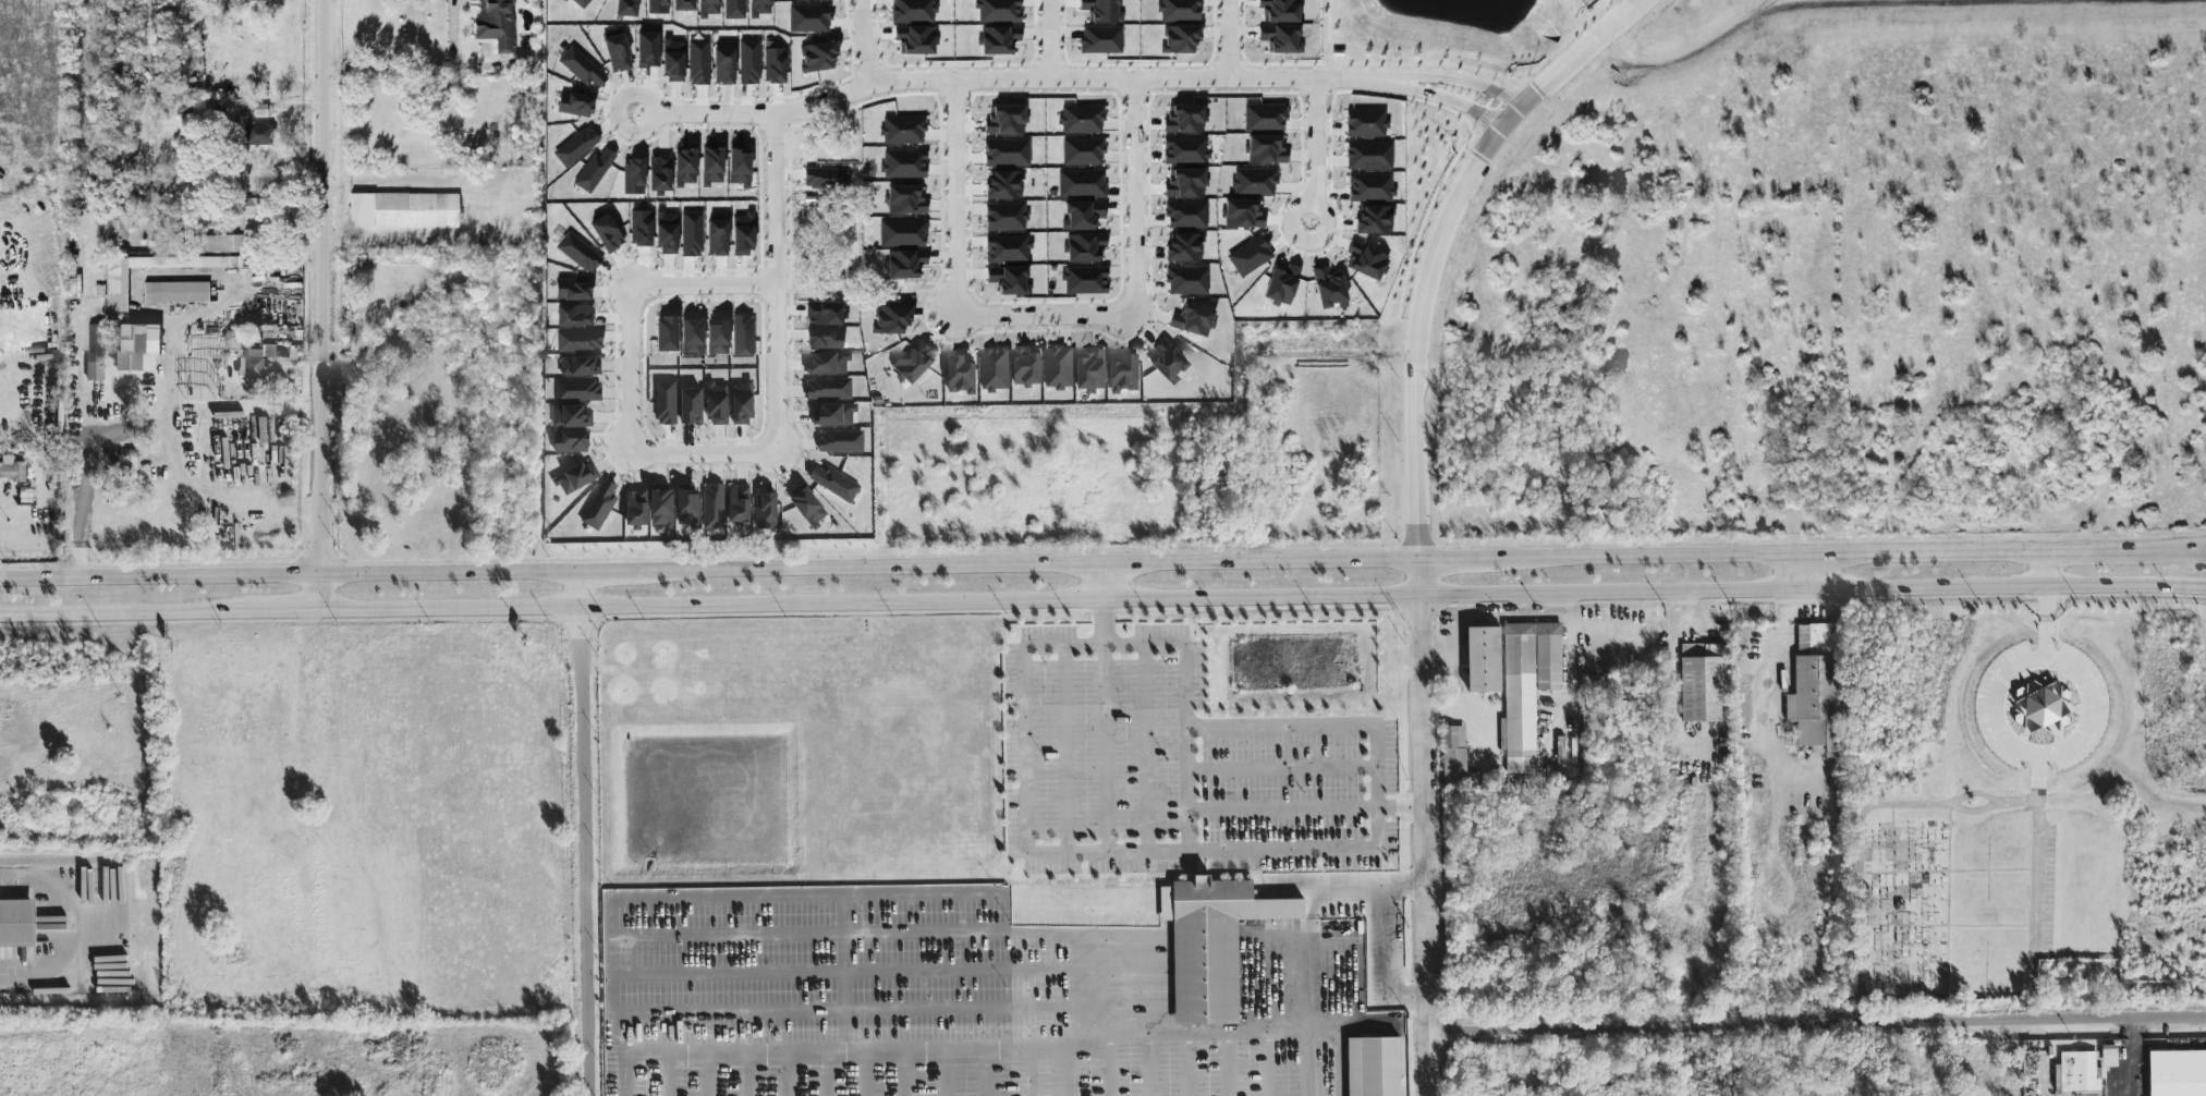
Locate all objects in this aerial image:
building: (249, 1)
building: (581, 2)
building: (682, 4)
building: (657, 7)
building: (625, 8)
building: (707, 8)
building: (759, 8)
building: (733, 9)
building: (998, 10)
building: (1100, 10)
building: (1178, 10)
building: (912, 11)
building: (1278, 11)
road: (1575, 12)
building: (807, 17)
building: (495, 24)
building: (1179, 38)
building: (1280, 38)
building: (914, 39)
building: (997, 39)
road: (1048, 39)
building: (1099, 39)
road: (1228, 39)
road: (1328, 39)
road: (864, 42)
road: (1557, 48)
building: (646, 49)
building: (616, 52)
building: (817, 57)
building: (672, 60)
building: (748, 61)
building: (697, 62)
road: (1426, 63)
road: (475, 64)
building: (722, 65)
building: (773, 65)
road: (419, 66)
building: (581, 69)
road: (1388, 78)
road: (1014, 80)
building: (574, 103)
building: (1263, 117)
building: (1183, 118)
building: (1080, 119)
building: (1004, 120)
road: (651, 123)
building: (1365, 123)
building: (901, 130)
building: (257, 134)
building: (574, 146)
building: (1184, 149)
building: (1265, 149)
building: (1006, 151)
building: (1081, 151)
building: (1368, 155)
road: (1315, 158)
building: (684, 163)
building: (738, 163)
building: (903, 163)
building: (710, 165)
building: (593, 171)
building: (658, 173)
building: (632, 176)
building: (826, 178)
building: (1253, 181)
building: (1183, 182)
building: (1080, 183)
building: (1003, 185)
building: (1369, 187)
building: (904, 199)
building: (247, 206)
building: (402, 210)
building: (1185, 214)
building: (1242, 214)
building: (1082, 215)
building: (1003, 216)
building: (1373, 220)
building: (639, 228)
building: (118, 229)
building: (666, 232)
building: (901, 232)
building: (606, 233)
building: (690, 233)
building: (742, 234)
building: (716, 238)
building: (173, 242)
building: (215, 243)
road: (1440, 243)
building: (1182, 246)
building: (1084, 247)
building: (1006, 248)
building: (577, 252)
building: (1248, 256)
building: (1364, 260)
building: (904, 264)
building: (1008, 280)
building: (1084, 280)
building: (1185, 280)
building: (1280, 284)
building: (1328, 288)
building: (114, 289)
building: (572, 290)
building: (174, 292)
road: (321, 305)
building: (822, 314)
building: (573, 315)
building: (889, 319)
building: (1191, 319)
road: (1046, 327)
building: (665, 333)
building: (691, 336)
building: (716, 336)
building: (741, 337)
building: (822, 339)
building: (577, 340)
building: (136, 349)
building: (267, 351)
building: (95, 352)
road: (24, 354)
building: (1168, 362)
building: (913, 364)
building: (827, 365)
building: (252, 366)
building: (580, 366)
building: (1026, 367)
building: (1058, 368)
road: (82, 369)
building: (200, 369)
building: (994, 370)
building: (1090, 373)
building: (1124, 376)
building: (960, 377)
building: (828, 390)
building: (578, 392)
building: (666, 403)
building: (717, 405)
building: (742, 405)
building: (691, 407)
building: (833, 416)
building: (572, 418)
road: (157, 428)
building: (571, 443)
building: (841, 443)
road: (727, 468)
building: (12, 471)
road: (40, 480)
building: (573, 480)
building: (834, 485)
road: (224, 496)
building: (739, 506)
building: (599, 508)
building: (687, 508)
building: (714, 508)
building: (636, 509)
building: (809, 509)
building: (662, 510)
road: (20, 511)
building: (766, 513)
road: (2174, 549)
road: (2097, 550)
road: (1771, 556)
road: (1457, 560)
road: (1035, 567)
road: (2049, 569)
road: (614, 572)
road: (290, 575)
road: (1101, 583)
road: (1264, 597)
road: (288, 611)
road: (126, 613)
road: (1101, 623)
road: (1104, 646)
building: (1484, 661)
building: (1703, 684)
building: (1527, 689)
building: (1816, 690)
building: (1589, 697)
road: (1772, 711)
building: (2039, 714)
road: (1281, 728)
road: (1187, 748)
road: (1146, 750)
road: (1067, 751)
road: (1105, 751)
road: (1022, 752)
building: (1560, 758)
building: (1455, 760)
road: (1282, 771)
road: (1377, 788)
road: (2040, 790)
park: (2028, 800)
road: (1402, 808)
road: (1282, 811)
road: (1426, 828)
road: (584, 835)
road: (1200, 852)
road: (1346, 886)
road: (1863, 898)
road: (630, 899)
building: (17, 925)
road: (78, 931)
building: (1212, 945)
road: (1301, 960)
road: (1381, 962)
road: (971, 1007)
road: (1817, 1025)
road: (1148, 1036)
road: (817, 1050)
road: (1314, 1060)
building: (1374, 1068)
building: (2080, 1073)
building: (2177, 1074)

